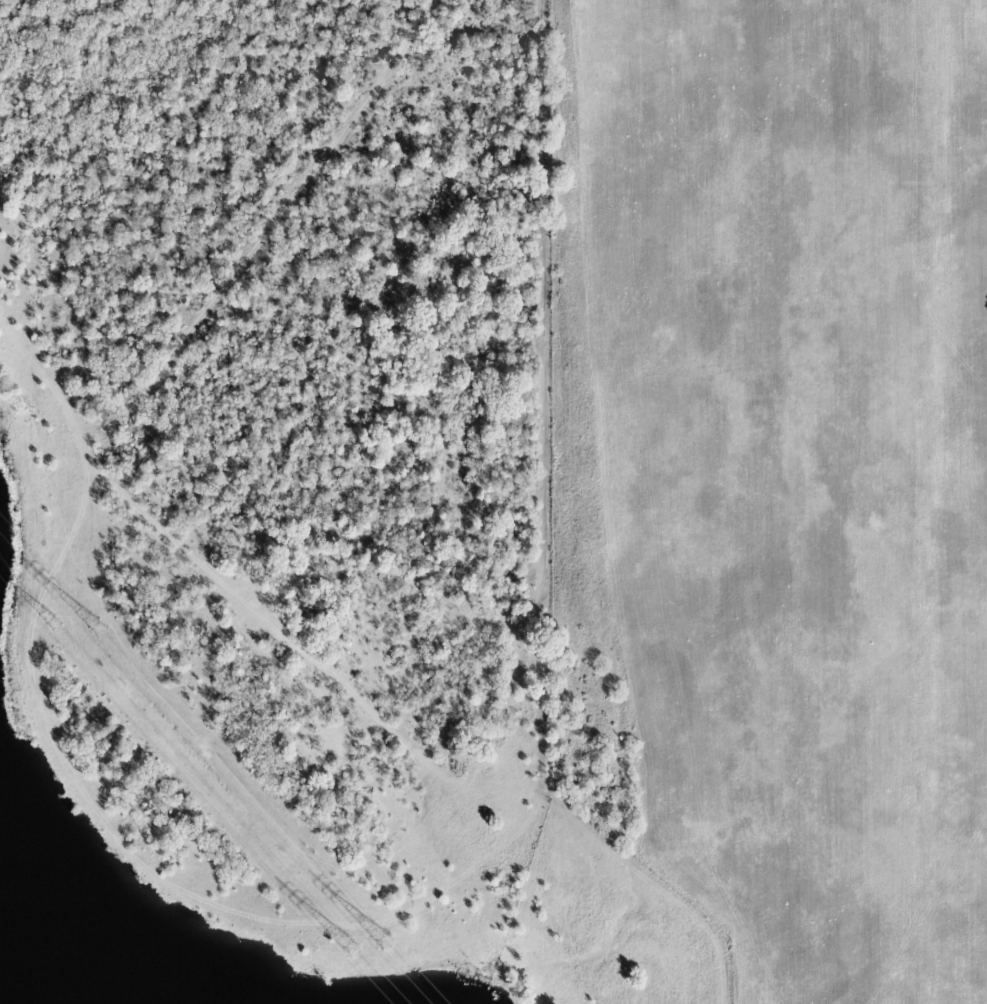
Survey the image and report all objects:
power tower: (67, 626)
power tower: (103, 631)
power tower: (393, 944)
power tower: (359, 953)

